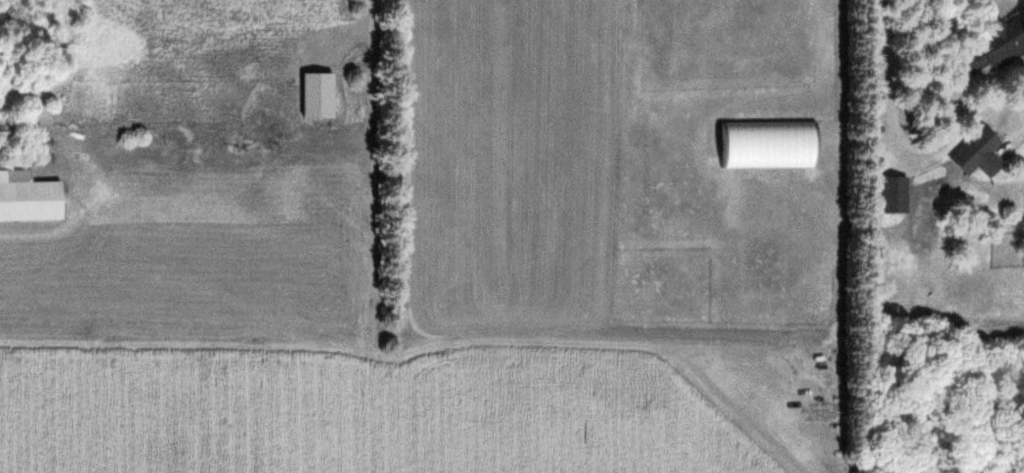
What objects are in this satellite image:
building: (1004, 42)
road: (369, 46)
road: (883, 59)
building: (768, 144)
building: (978, 152)
building: (32, 201)

